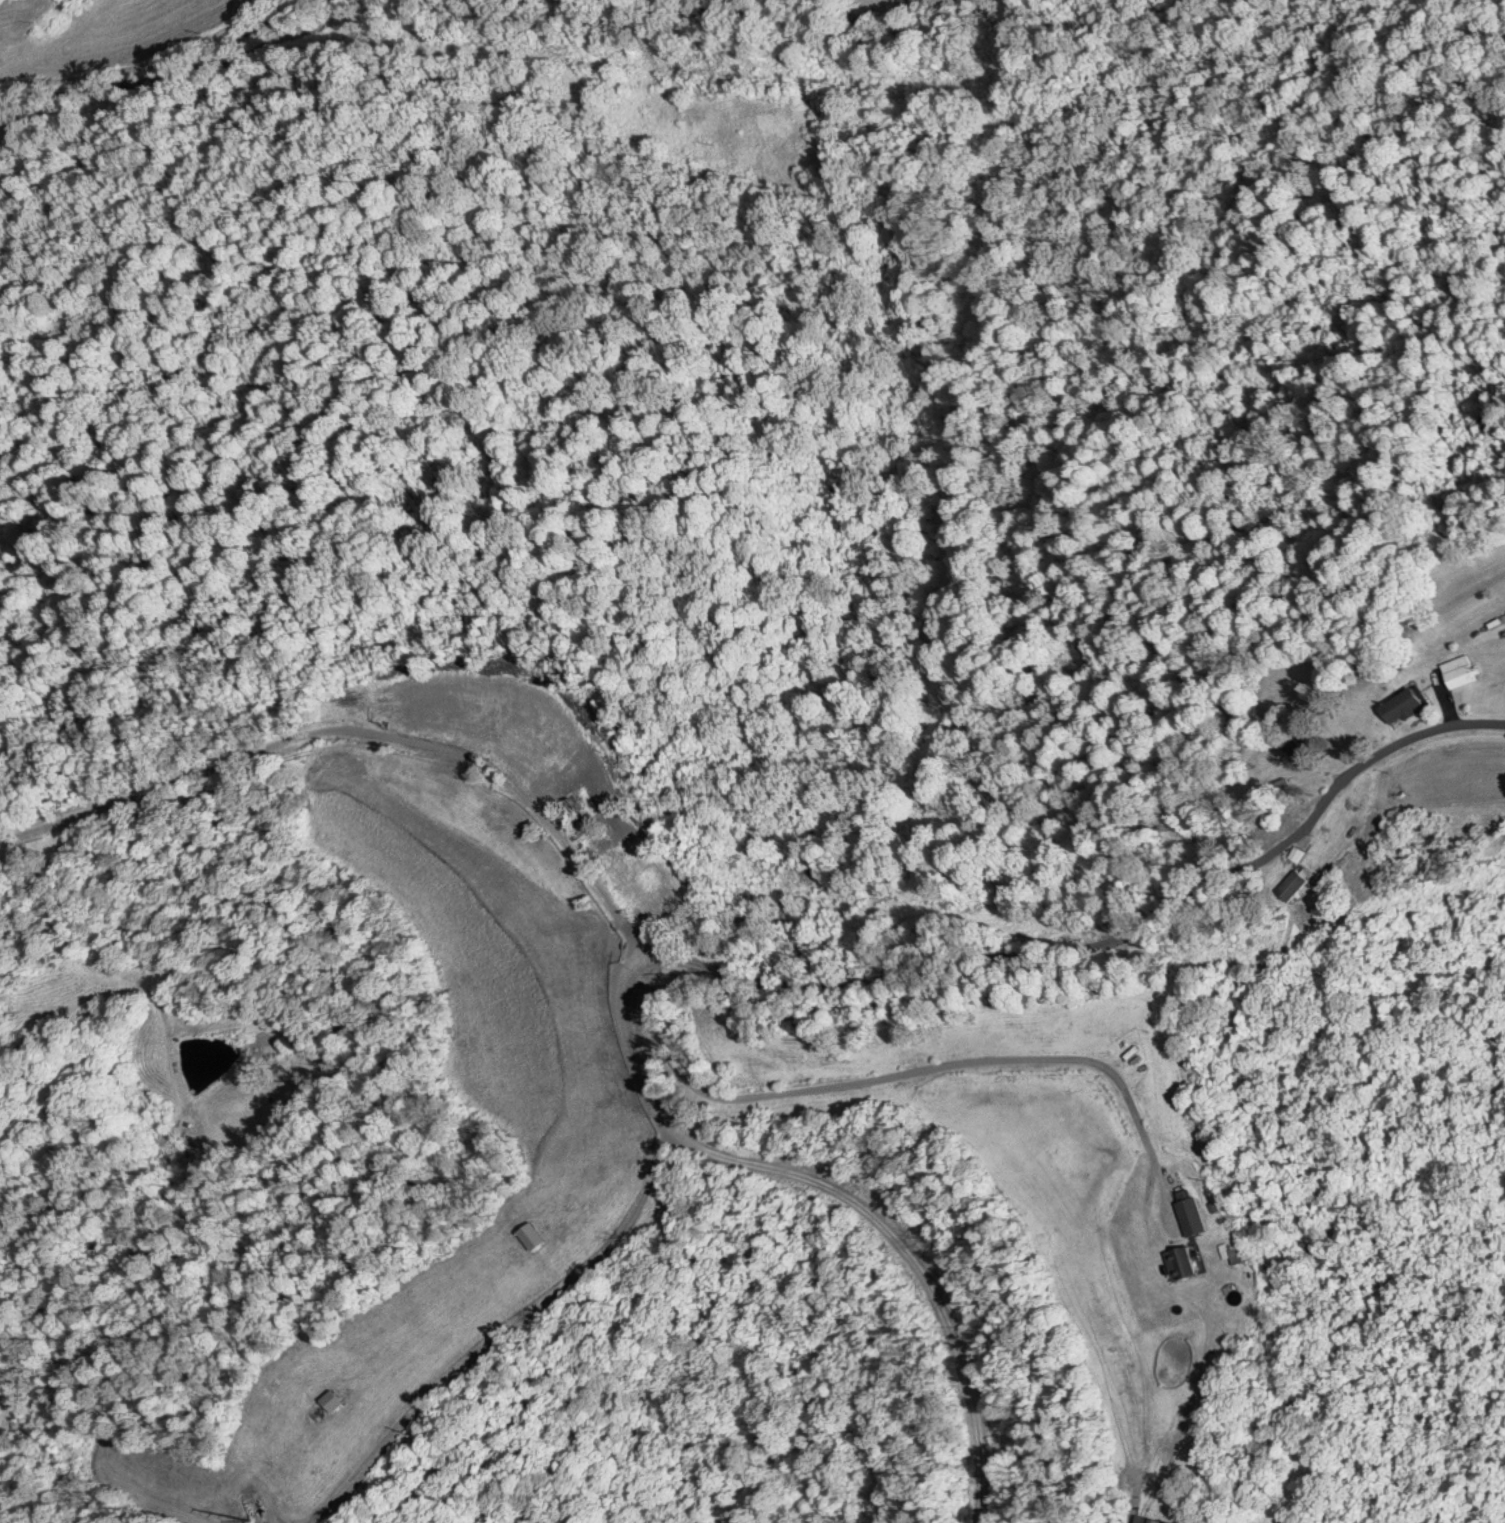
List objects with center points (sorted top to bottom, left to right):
building: (860, 13)
road: (119, 64)
building: (1461, 671)
building: (1402, 705)
building: (1301, 743)
building: (1294, 811)
building: (1295, 887)
road: (736, 973)
road: (919, 1067)
road: (841, 1191)
building: (1182, 1258)
power tower: (234, 1497)
building: (1149, 1519)

